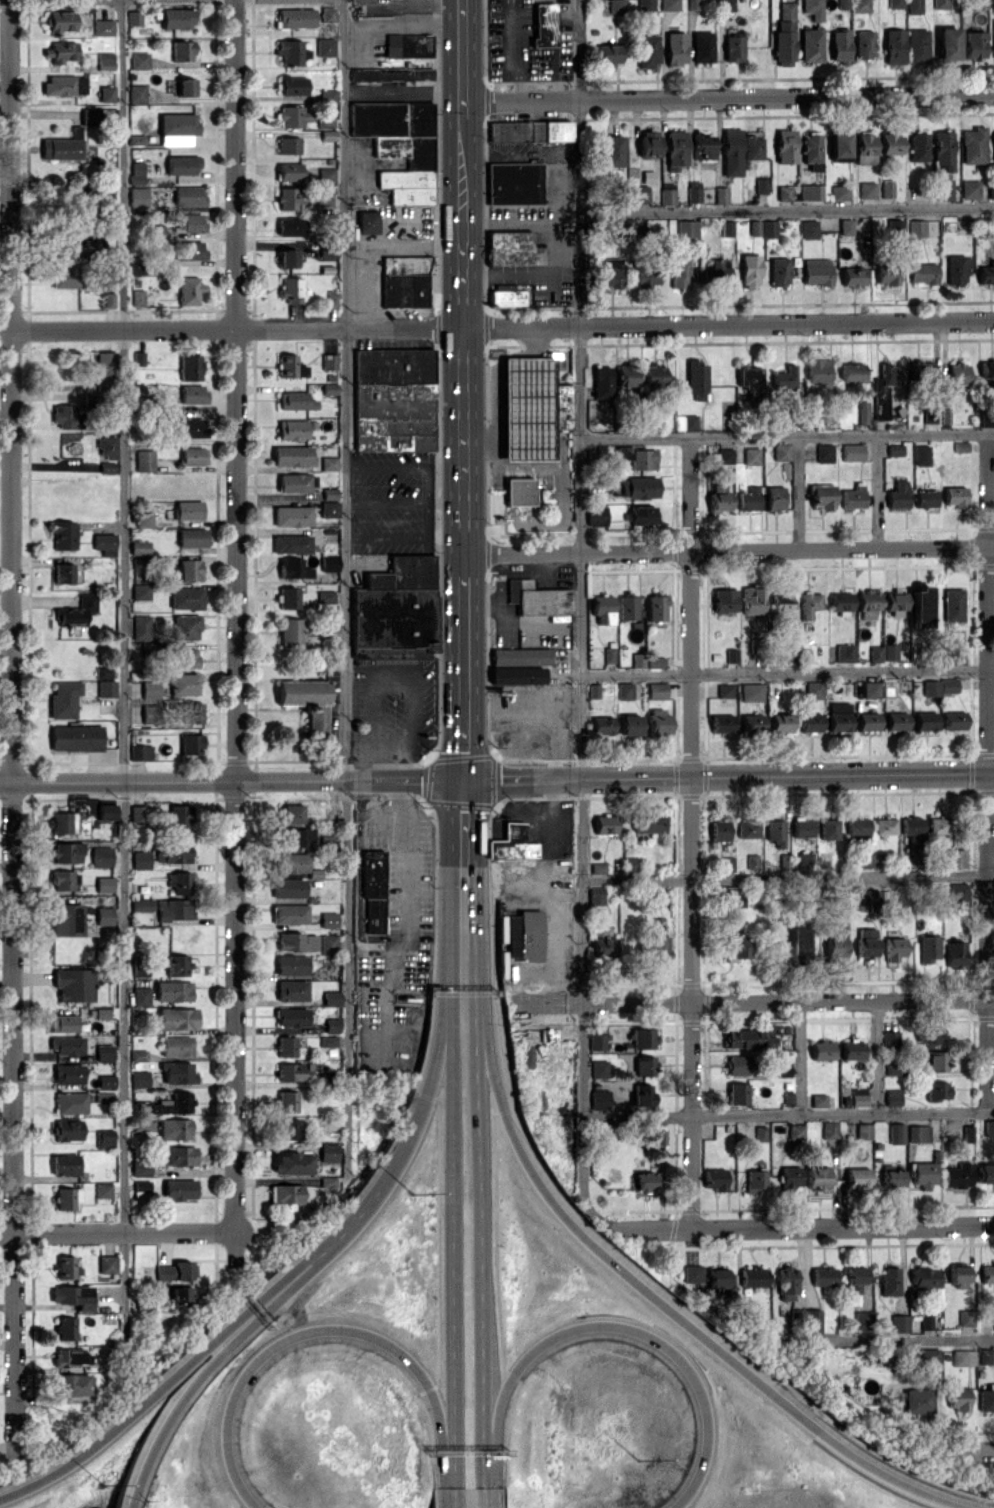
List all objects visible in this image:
building: (895, 3)
building: (692, 4)
building: (843, 4)
building: (940, 4)
building: (978, 4)
road: (431, 5)
building: (645, 5)
building: (669, 5)
building: (724, 5)
building: (616, 6)
building: (860, 6)
building: (913, 6)
building: (812, 8)
building: (327, 14)
building: (133, 17)
building: (294, 17)
building: (176, 18)
building: (59, 21)
building: (543, 25)
building: (102, 27)
building: (784, 33)
building: (993, 39)
building: (947, 43)
building: (810, 44)
building: (863, 44)
building: (973, 44)
building: (407, 45)
building: (839, 45)
building: (916, 45)
building: (324, 46)
building: (702, 46)
building: (893, 46)
building: (675, 47)
building: (732, 47)
building: (181, 50)
building: (647, 50)
building: (60, 51)
building: (290, 51)
building: (608, 54)
building: (138, 60)
building: (104, 61)
road: (461, 61)
building: (390, 73)
building: (63, 84)
building: (292, 85)
building: (184, 86)
building: (106, 93)
building: (136, 93)
building: (327, 95)
road: (727, 97)
building: (89, 116)
building: (293, 116)
building: (324, 122)
building: (176, 128)
building: (529, 131)
building: (135, 139)
building: (648, 143)
building: (890, 143)
building: (839, 144)
building: (288, 145)
building: (785, 145)
building: (973, 145)
building: (993, 145)
building: (398, 146)
building: (702, 146)
building: (918, 146)
building: (752, 147)
building: (810, 147)
building: (60, 148)
building: (864, 148)
building: (675, 149)
building: (611, 151)
building: (943, 151)
building: (731, 152)
building: (181, 165)
building: (289, 171)
building: (135, 172)
building: (325, 174)
road: (462, 174)
building: (514, 183)
building: (760, 185)
building: (886, 189)
building: (943, 189)
building: (969, 189)
building: (866, 190)
building: (991, 190)
building: (693, 191)
building: (810, 191)
building: (783, 192)
building: (839, 192)
building: (667, 193)
building: (720, 194)
building: (188, 195)
building: (640, 195)
building: (137, 196)
building: (286, 198)
building: (106, 202)
road: (786, 208)
building: (188, 222)
building: (367, 222)
road: (520, 222)
building: (893, 225)
building: (980, 225)
building: (289, 226)
building: (845, 226)
building: (754, 227)
building: (686, 228)
building: (727, 228)
building: (768, 228)
building: (808, 228)
building: (916, 228)
building: (621, 230)
building: (155, 231)
building: (82, 247)
road: (403, 247)
building: (508, 248)
building: (190, 249)
building: (328, 249)
building: (286, 258)
building: (956, 268)
building: (749, 271)
building: (815, 271)
building: (715, 272)
building: (778, 272)
building: (608, 273)
building: (679, 273)
building: (921, 273)
building: (986, 273)
building: (853, 276)
building: (886, 276)
building: (65, 278)
building: (646, 278)
building: (404, 280)
building: (291, 289)
building: (188, 290)
building: (509, 294)
building: (137, 297)
building: (331, 298)
building: (108, 299)
road: (728, 323)
road: (231, 328)
road: (533, 337)
road: (526, 352)
building: (328, 361)
road: (510, 365)
building: (290, 366)
building: (190, 367)
building: (103, 368)
building: (922, 368)
building: (817, 369)
building: (987, 370)
building: (851, 372)
building: (653, 374)
building: (956, 374)
building: (626, 375)
road: (463, 377)
building: (785, 377)
building: (696, 379)
building: (749, 380)
building: (601, 381)
building: (884, 389)
building: (136, 391)
building: (192, 394)
building: (392, 399)
building: (295, 400)
building: (557, 405)
building: (526, 409)
building: (862, 412)
building: (65, 416)
road: (497, 419)
building: (684, 422)
building: (190, 427)
building: (291, 429)
road: (787, 436)
building: (106, 447)
building: (894, 449)
building: (781, 451)
building: (852, 451)
building: (824, 453)
building: (193, 455)
building: (291, 455)
building: (725, 455)
building: (921, 455)
building: (751, 456)
building: (636, 457)
building: (143, 460)
building: (328, 463)
road: (401, 468)
building: (293, 482)
building: (638, 487)
building: (518, 491)
road: (876, 491)
road: (796, 492)
building: (898, 493)
building: (821, 495)
building: (852, 496)
building: (954, 496)
building: (718, 498)
building: (748, 498)
building: (774, 498)
building: (925, 498)
road: (444, 501)
road: (347, 502)
building: (329, 508)
building: (188, 509)
building: (595, 515)
building: (640, 515)
building: (292, 516)
building: (143, 519)
road: (426, 520)
building: (61, 534)
building: (191, 537)
building: (104, 543)
building: (290, 543)
building: (139, 547)
road: (728, 549)
road: (463, 551)
building: (329, 563)
building: (292, 568)
building: (185, 570)
building: (62, 573)
road: (345, 590)
building: (140, 591)
building: (325, 596)
building: (185, 597)
building: (287, 597)
building: (537, 598)
building: (724, 600)
building: (751, 600)
building: (840, 601)
building: (895, 601)
building: (809, 604)
building: (867, 604)
building: (952, 604)
building: (628, 606)
building: (656, 607)
building: (920, 607)
building: (602, 608)
building: (395, 610)
building: (77, 611)
building: (782, 611)
building: (329, 623)
road: (580, 625)
building: (185, 626)
building: (140, 627)
building: (289, 632)
road: (235, 637)
building: (889, 651)
building: (844, 652)
building: (875, 653)
building: (609, 654)
building: (731, 654)
building: (520, 655)
building: (953, 656)
building: (184, 657)
building: (655, 662)
road: (392, 667)
building: (102, 672)
road: (787, 672)
building: (516, 674)
road: (463, 676)
building: (183, 684)
building: (947, 684)
road: (123, 686)
building: (930, 687)
building: (106, 688)
building: (149, 689)
building: (813, 689)
building: (871, 689)
building: (624, 690)
building: (656, 690)
building: (724, 690)
building: (751, 691)
building: (63, 699)
building: (305, 702)
building: (191, 712)
building: (149, 713)
building: (838, 717)
building: (657, 720)
building: (925, 720)
building: (954, 720)
building: (809, 721)
building: (867, 721)
building: (896, 721)
building: (721, 722)
building: (780, 722)
building: (601, 724)
building: (630, 724)
building: (751, 724)
road: (10, 728)
building: (75, 737)
building: (190, 745)
building: (139, 751)
road: (987, 772)
road: (728, 776)
traffic signals: (463, 779)
road: (231, 780)
building: (106, 811)
building: (136, 813)
building: (289, 813)
building: (178, 816)
building: (63, 822)
building: (604, 823)
building: (649, 823)
building: (884, 825)
building: (911, 825)
building: (939, 825)
building: (857, 826)
building: (802, 827)
building: (747, 828)
building: (828, 828)
building: (719, 829)
road: (473, 830)
building: (774, 831)
road: (691, 832)
building: (294, 837)
building: (512, 843)
road: (452, 850)
building: (67, 852)
building: (171, 853)
road: (550, 855)
building: (101, 856)
road: (403, 857)
building: (956, 858)
building: (140, 859)
building: (804, 859)
building: (289, 862)
building: (751, 862)
building: (727, 863)
road: (787, 876)
building: (64, 880)
building: (179, 881)
building: (104, 883)
building: (288, 888)
building: (372, 889)
building: (958, 892)
building: (595, 895)
building: (734, 897)
building: (868, 898)
building: (142, 905)
building: (174, 909)
building: (289, 914)
building: (104, 915)
building: (66, 919)
building: (328, 919)
road: (474, 933)
building: (524, 935)
building: (835, 940)
building: (297, 941)
building: (796, 941)
building: (328, 942)
building: (865, 942)
building: (660, 947)
building: (736, 947)
building: (602, 948)
building: (893, 948)
building: (928, 948)
road: (550, 950)
building: (954, 956)
building: (177, 964)
building: (291, 964)
building: (74, 984)
building: (291, 990)
building: (173, 991)
road: (384, 995)
building: (141, 996)
building: (331, 997)
road: (753, 1001)
building: (291, 1016)
building: (177, 1018)
building: (62, 1023)
building: (332, 1025)
building: (928, 1035)
building: (890, 1037)
building: (644, 1038)
building: (749, 1039)
building: (327, 1041)
building: (597, 1041)
building: (67, 1045)
building: (176, 1045)
building: (285, 1046)
building: (821, 1049)
building: (851, 1050)
building: (104, 1052)
building: (138, 1055)
road: (876, 1056)
road: (800, 1058)
building: (932, 1059)
road: (434, 1063)
building: (739, 1064)
building: (645, 1065)
building: (599, 1068)
building: (781, 1069)
building: (290, 1071)
building: (178, 1072)
building: (68, 1073)
building: (140, 1078)
building: (105, 1087)
building: (937, 1090)
building: (737, 1093)
building: (642, 1094)
building: (859, 1096)
building: (892, 1097)
building: (600, 1099)
building: (819, 1100)
building: (287, 1101)
building: (70, 1102)
building: (173, 1103)
road: (788, 1115)
building: (142, 1124)
building: (175, 1128)
building: (289, 1128)
building: (989, 1128)
building: (68, 1129)
building: (830, 1129)
building: (863, 1131)
building: (795, 1132)
building: (761, 1133)
building: (896, 1133)
building: (918, 1133)
building: (659, 1137)
building: (104, 1138)
building: (329, 1152)
building: (180, 1155)
building: (293, 1162)
building: (64, 1164)
building: (141, 1167)
building: (924, 1173)
building: (986, 1174)
building: (958, 1175)
building: (790, 1176)
building: (818, 1177)
building: (858, 1178)
building: (892, 1178)
building: (716, 1179)
building: (328, 1181)
building: (756, 1181)
building: (644, 1184)
building: (180, 1189)
building: (103, 1190)
building: (67, 1198)
road: (450, 1205)
road: (357, 1213)
road: (807, 1226)
road: (117, 1232)
road: (477, 1234)
building: (106, 1264)
building: (66, 1267)
building: (183, 1270)
building: (164, 1271)
building: (694, 1273)
building: (957, 1273)
building: (987, 1273)
building: (753, 1276)
building: (823, 1276)
building: (721, 1277)
building: (924, 1277)
building: (889, 1281)
building: (853, 1283)
building: (787, 1284)
building: (182, 1295)
building: (73, 1296)
road: (654, 1298)
building: (966, 1317)
building: (993, 1317)
building: (862, 1319)
building: (812, 1321)
building: (926, 1321)
building: (898, 1323)
road: (616, 1324)
road: (316, 1327)
building: (65, 1328)
road: (888, 1340)
road: (217, 1354)
building: (986, 1356)
building: (70, 1357)
building: (929, 1357)
building: (963, 1357)
road: (173, 1374)
building: (72, 1384)
building: (957, 1398)
building: (986, 1398)
building: (918, 1400)
road: (964, 1450)
road: (450, 1497)
road: (479, 1497)
road: (125, 1501)

